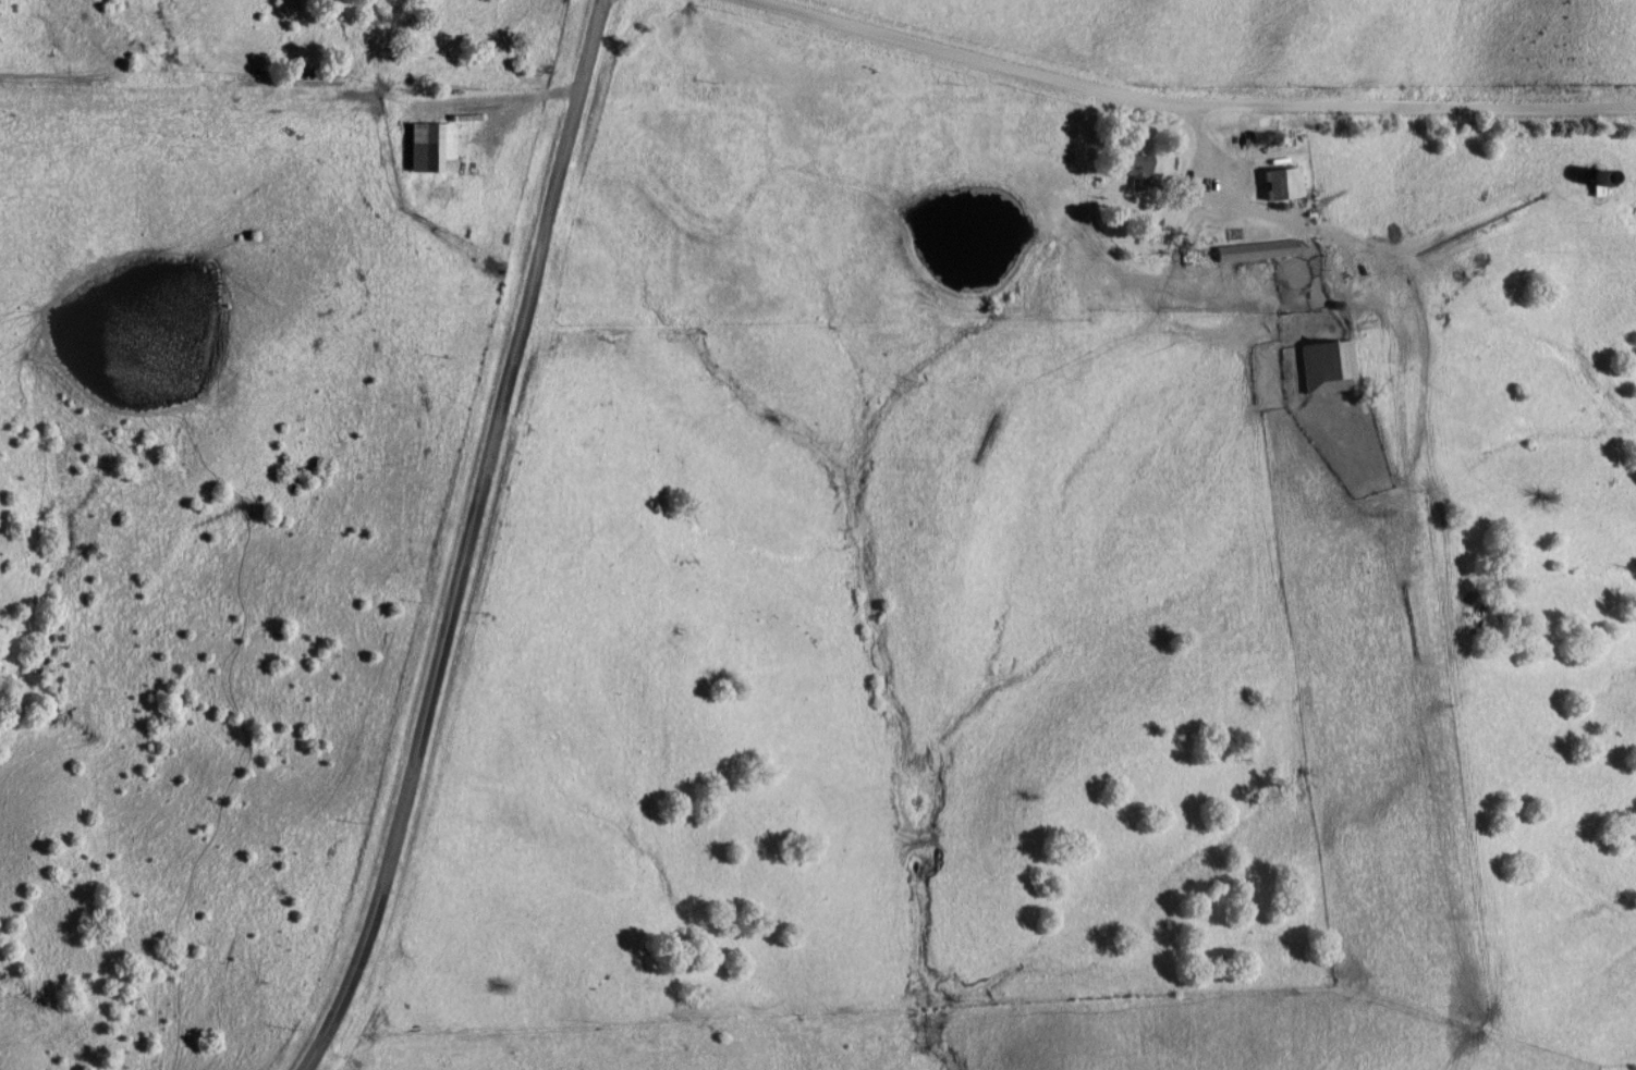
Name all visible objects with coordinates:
road: (1174, 110)
building: (427, 149)
building: (1137, 172)
building: (1275, 185)
building: (1592, 185)
building: (1252, 251)
building: (1327, 368)
road: (464, 539)

